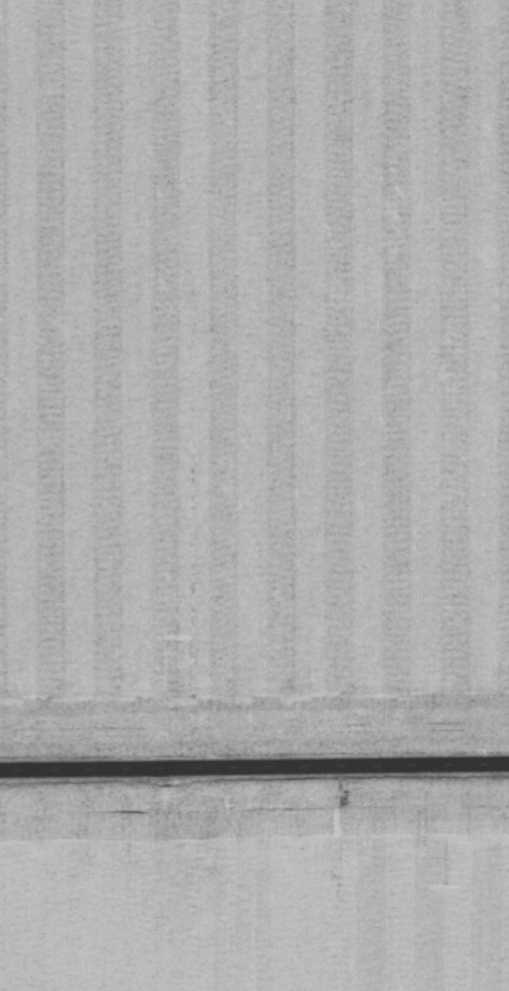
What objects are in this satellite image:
road: (254, 770)

